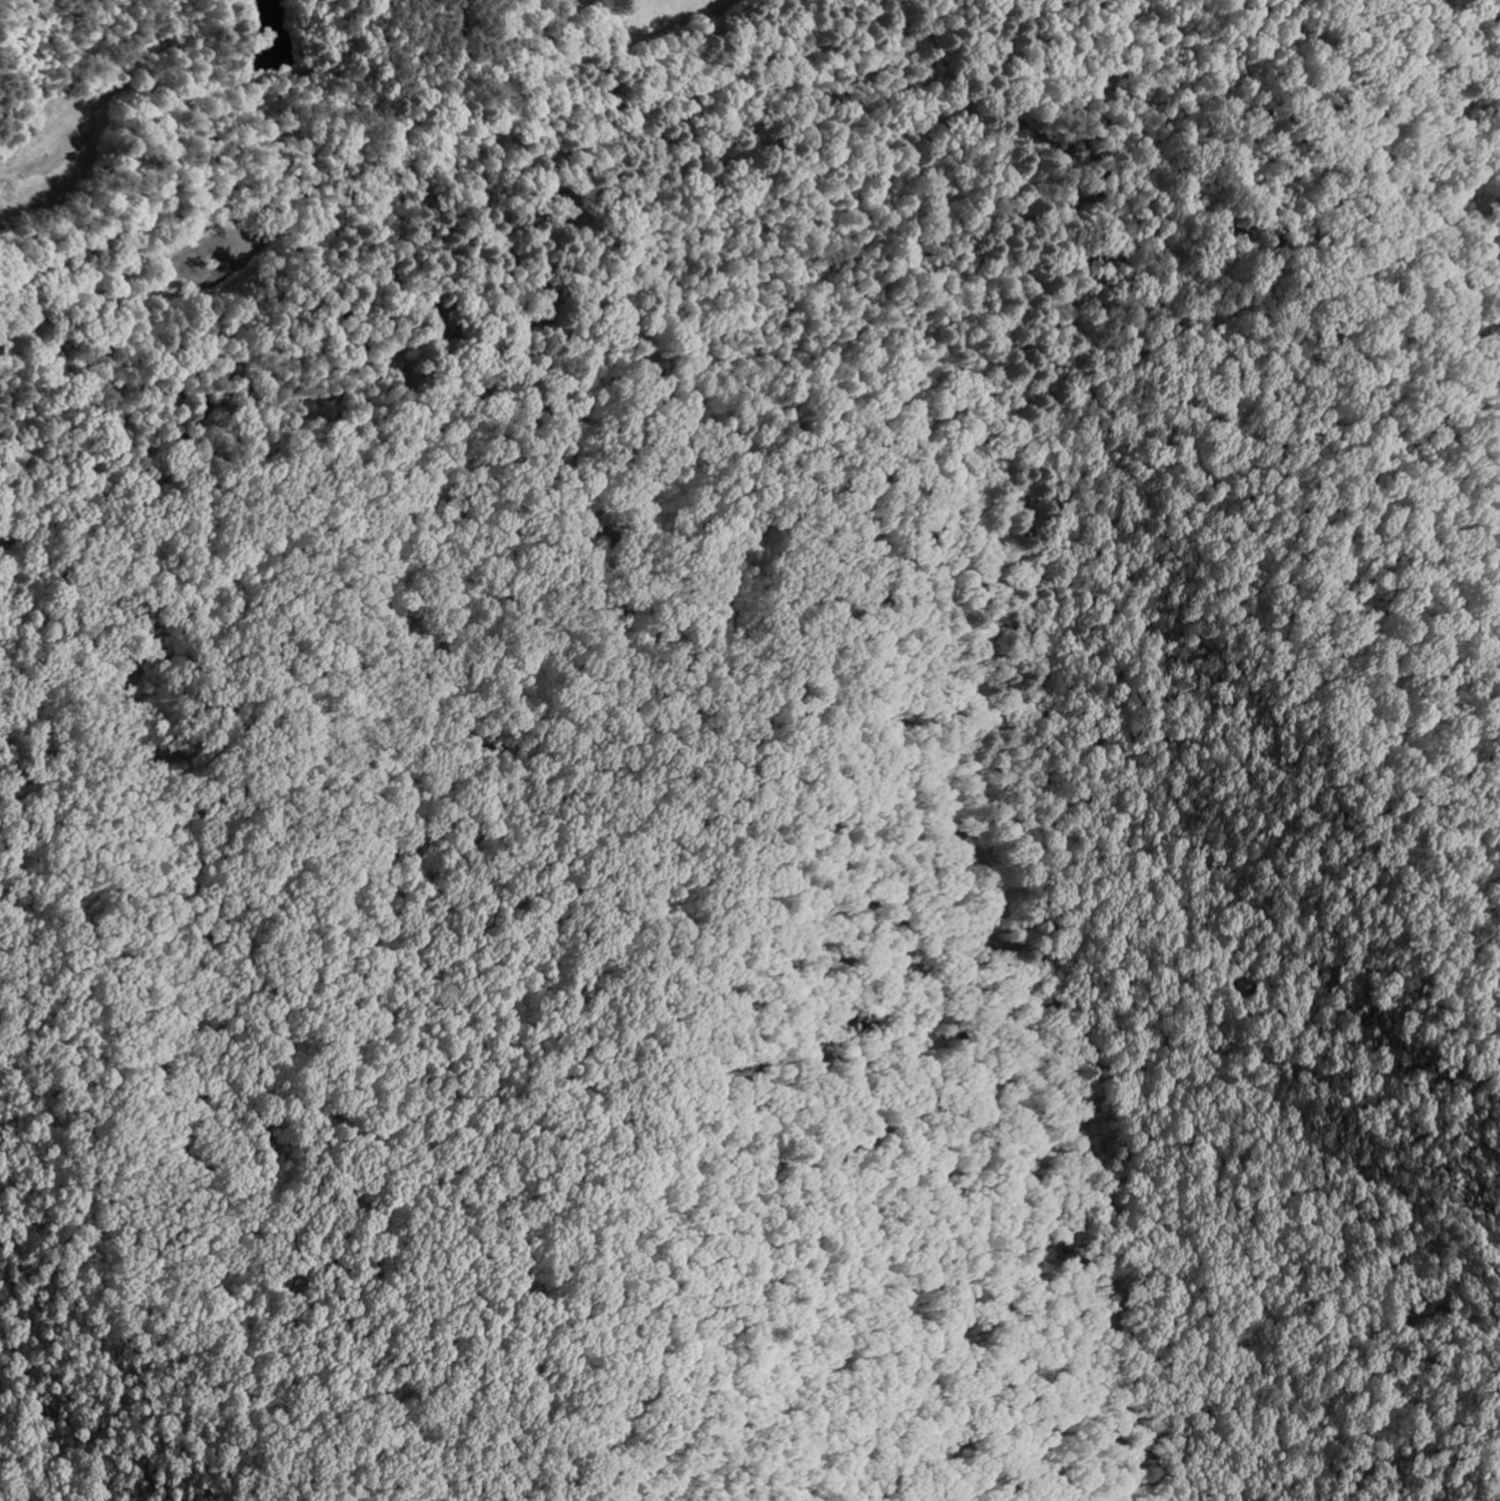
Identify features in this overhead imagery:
road: (525, 94)

